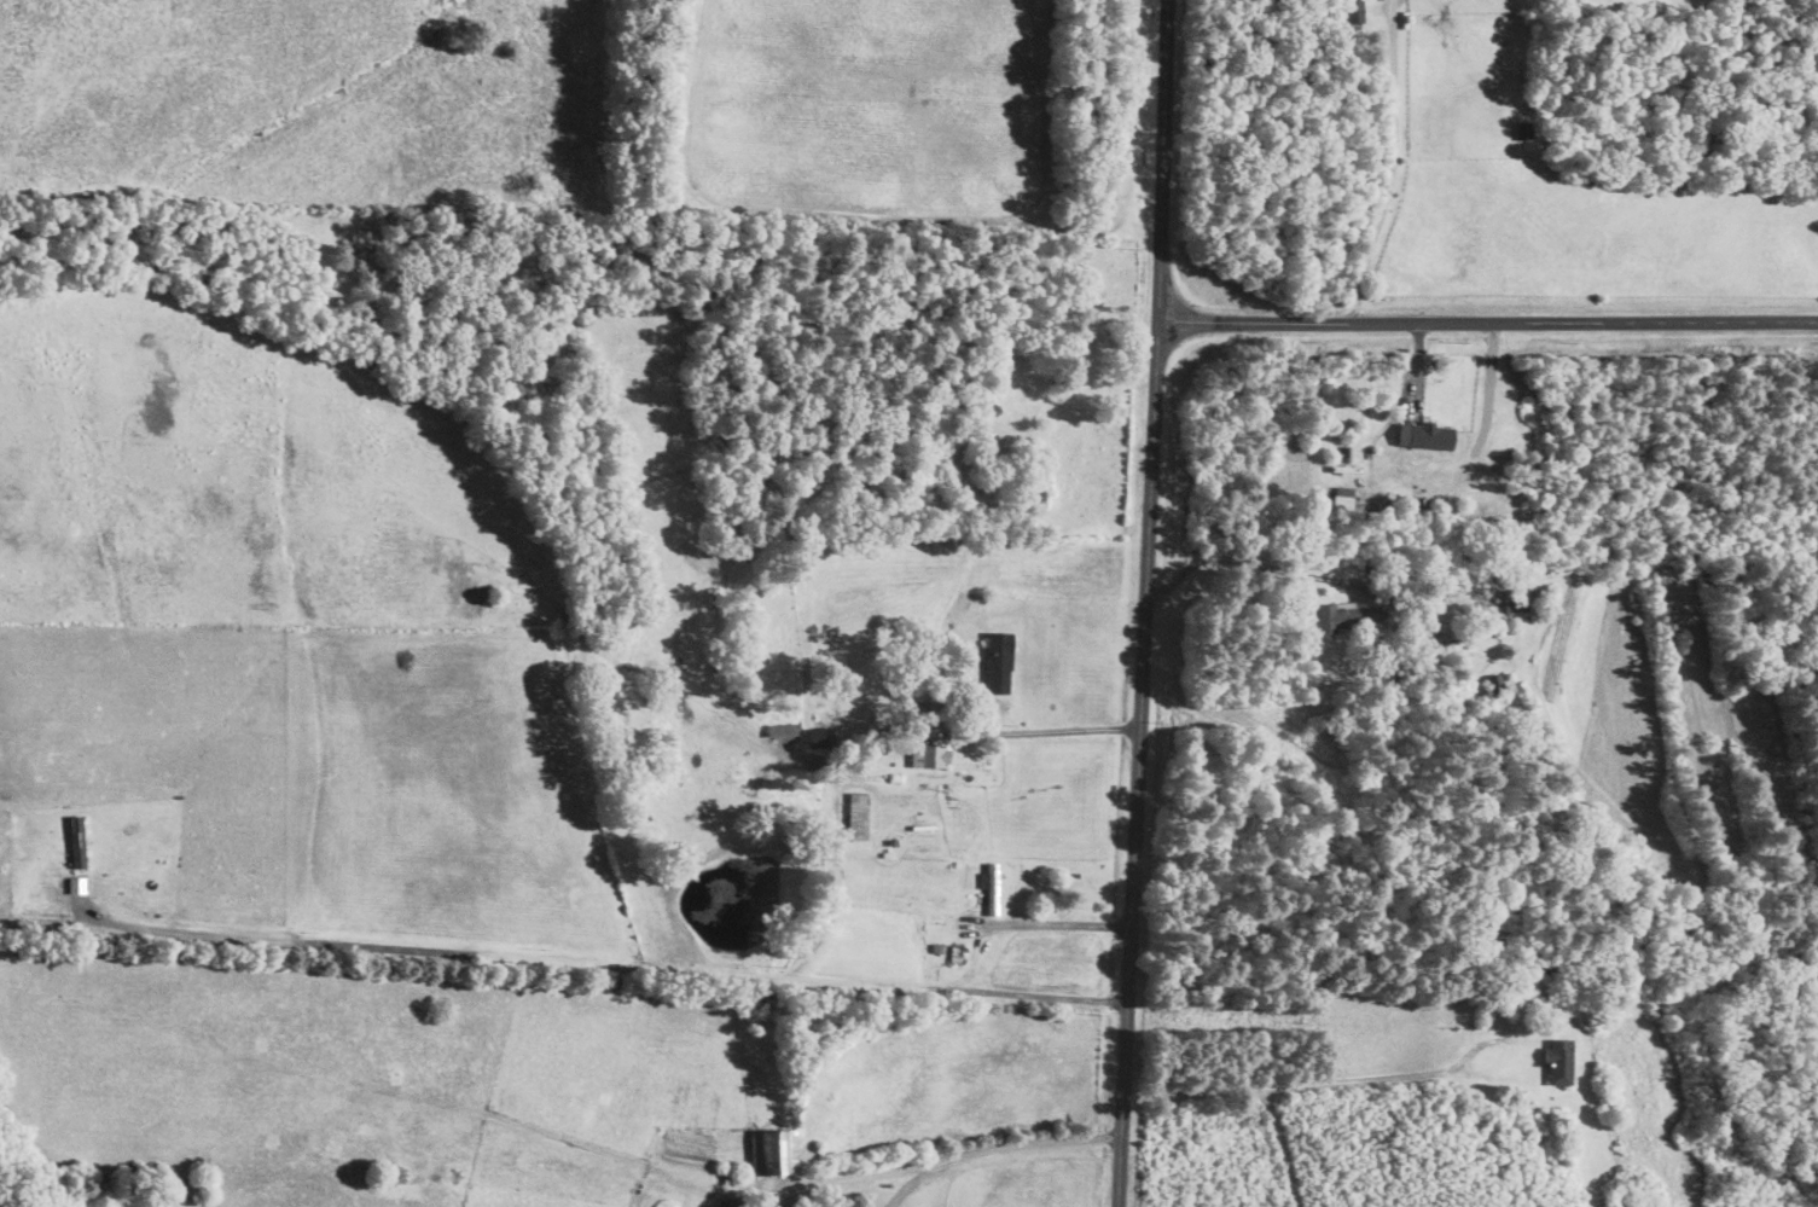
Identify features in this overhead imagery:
road: (1393, 166)
road: (1487, 324)
building: (1430, 435)
building: (1343, 498)
road: (1253, 563)
road: (1146, 603)
building: (1330, 609)
building: (999, 662)
road: (978, 726)
building: (782, 729)
building: (818, 737)
building: (930, 756)
building: (992, 888)
road: (1059, 924)
road: (594, 958)
road: (1290, 1085)
road: (1023, 1143)
building: (788, 1153)
road: (844, 1178)
road: (906, 1186)

